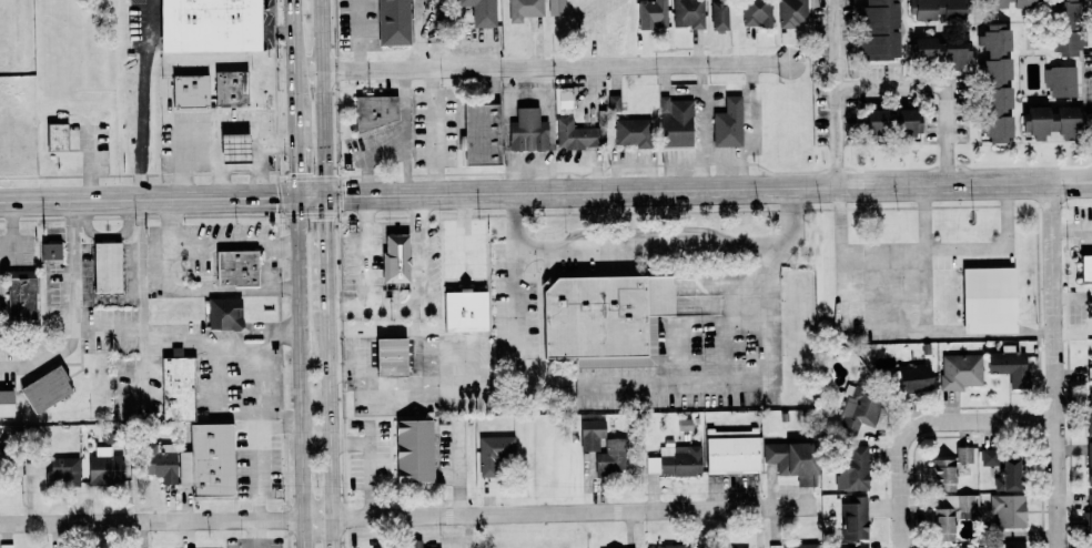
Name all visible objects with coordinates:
building: (1011, 3)
building: (556, 8)
building: (524, 9)
building: (934, 9)
building: (479, 11)
building: (688, 13)
building: (756, 13)
building: (791, 13)
building: (651, 14)
building: (718, 14)
building: (393, 22)
building: (206, 24)
building: (1064, 28)
building: (878, 29)
road: (361, 34)
building: (941, 50)
road: (296, 60)
road: (544, 65)
building: (1060, 80)
building: (995, 82)
road: (942, 85)
building: (230, 88)
building: (188, 90)
road: (836, 93)
road: (324, 98)
road: (142, 99)
building: (614, 102)
building: (375, 111)
road: (702, 111)
building: (1051, 120)
building: (890, 121)
building: (675, 122)
building: (728, 123)
road: (210, 125)
building: (527, 130)
road: (435, 131)
building: (631, 132)
road: (406, 133)
building: (481, 133)
building: (577, 134)
building: (57, 136)
building: (232, 148)
road: (261, 154)
road: (299, 160)
road: (737, 160)
road: (675, 161)
road: (204, 166)
road: (240, 166)
road: (404, 171)
road: (706, 175)
road: (367, 177)
road: (708, 189)
road: (320, 197)
traffic signals: (326, 197)
traffic signals: (299, 199)
road: (156, 200)
road: (1072, 204)
road: (422, 212)
road: (515, 219)
road: (924, 220)
road: (394, 227)
road: (13, 230)
road: (170, 233)
road: (327, 234)
road: (790, 234)
road: (234, 241)
road: (654, 247)
building: (49, 252)
road: (366, 253)
road: (921, 254)
building: (394, 262)
road: (73, 263)
building: (105, 266)
building: (235, 267)
building: (1085, 267)
road: (422, 268)
road: (269, 282)
building: (989, 298)
building: (19, 300)
road: (143, 303)
road: (375, 309)
building: (466, 311)
building: (223, 313)
building: (600, 313)
road: (109, 325)
road: (953, 335)
road: (515, 339)
building: (388, 356)
road: (46, 358)
building: (1009, 364)
road: (1054, 365)
building: (1091, 369)
building: (960, 371)
road: (302, 373)
road: (257, 375)
building: (912, 377)
road: (725, 380)
building: (44, 388)
building: (176, 388)
building: (6, 403)
road: (330, 409)
building: (856, 410)
building: (1089, 413)
road: (921, 426)
building: (590, 434)
building: (413, 450)
building: (731, 450)
building: (494, 454)
building: (988, 456)
building: (611, 457)
building: (206, 459)
building: (675, 460)
building: (792, 460)
building: (158, 461)
building: (1089, 463)
building: (34, 465)
building: (104, 465)
building: (853, 468)
building: (949, 468)
building: (63, 469)
building: (1007, 475)
road: (562, 510)
building: (1008, 510)
building: (950, 515)
building: (1088, 516)
road: (152, 518)
building: (853, 518)
building: (415, 544)
building: (793, 545)
building: (668, 546)
building: (746, 547)
building: (1022, 547)
building: (1091, 547)

